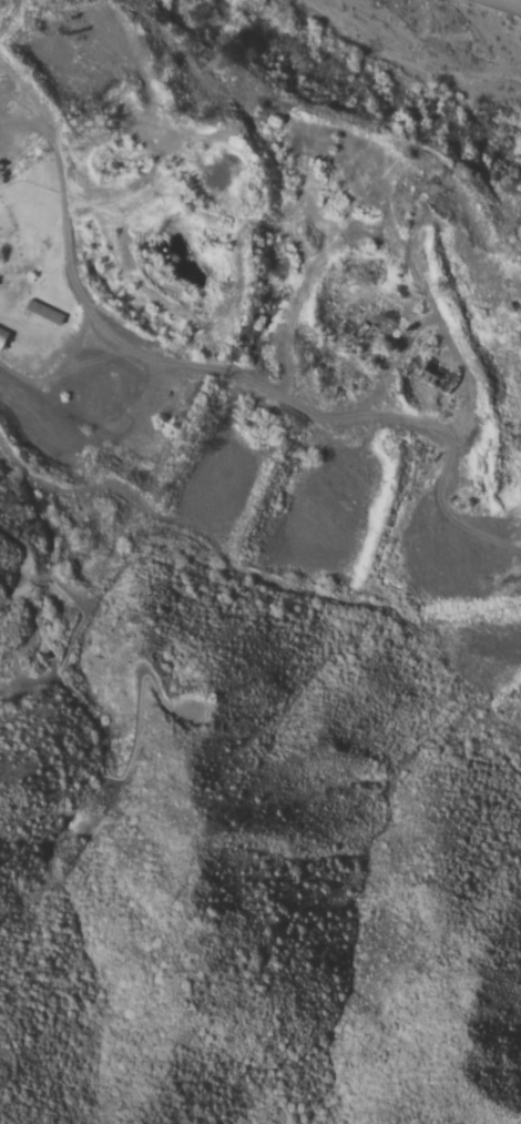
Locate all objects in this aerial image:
road: (509, 3)
building: (43, 312)
building: (2, 334)
road: (172, 358)
road: (71, 693)

